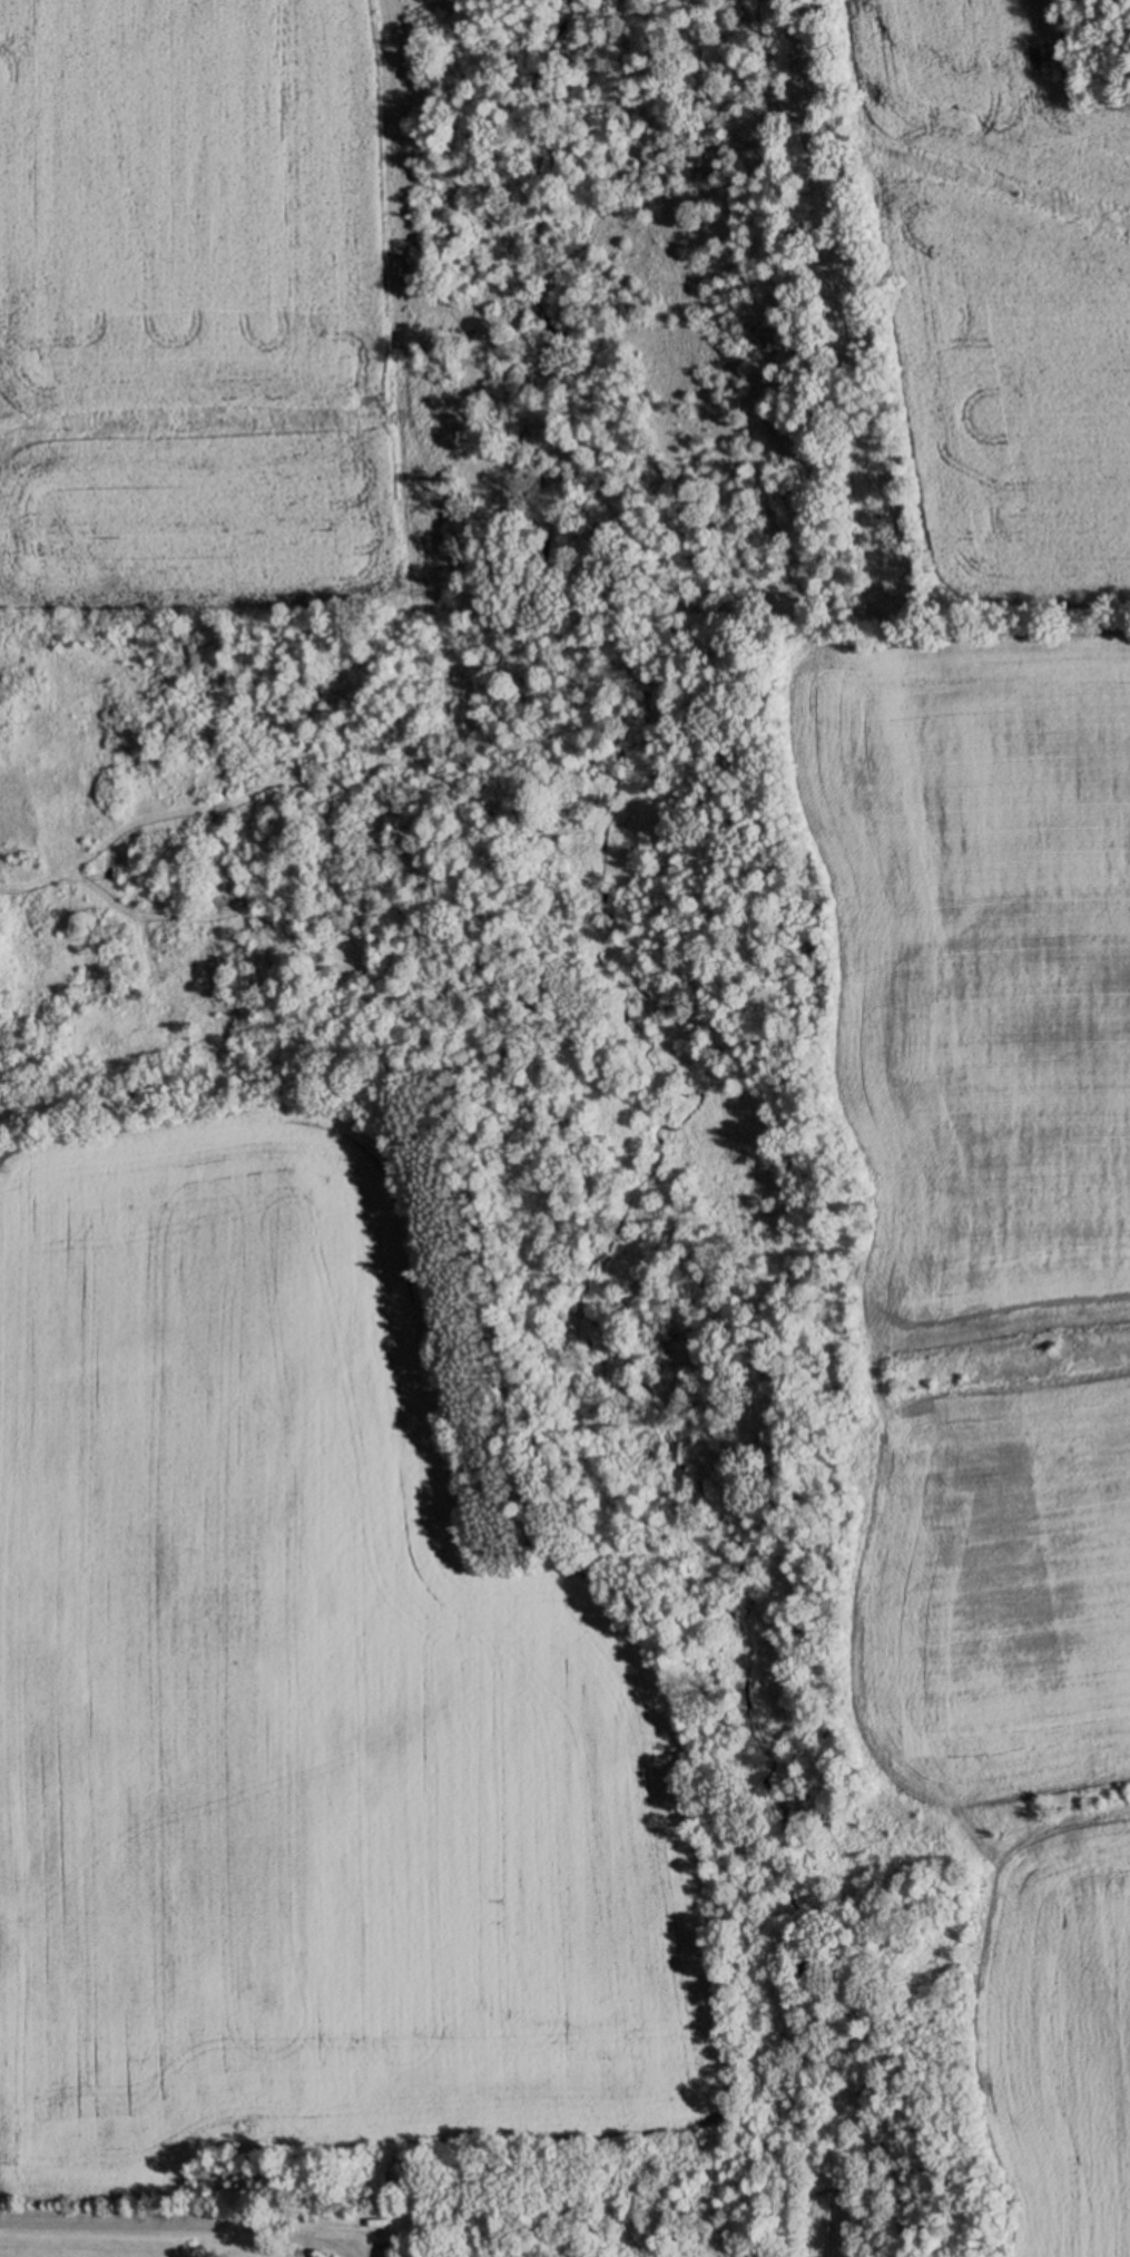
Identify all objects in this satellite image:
road: (164, 2226)
building: (400, 2250)

